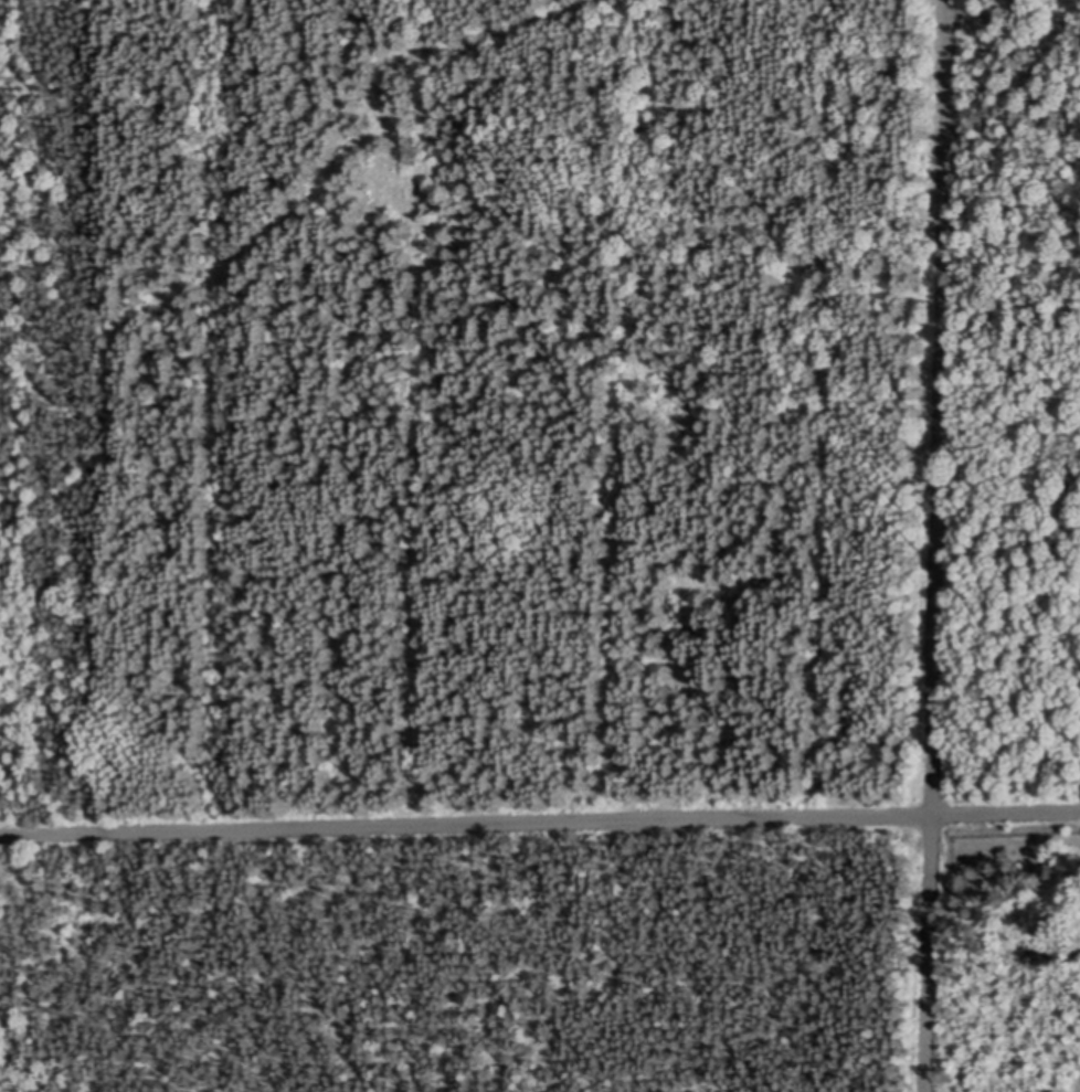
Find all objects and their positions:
road: (938, 545)
road: (540, 823)

